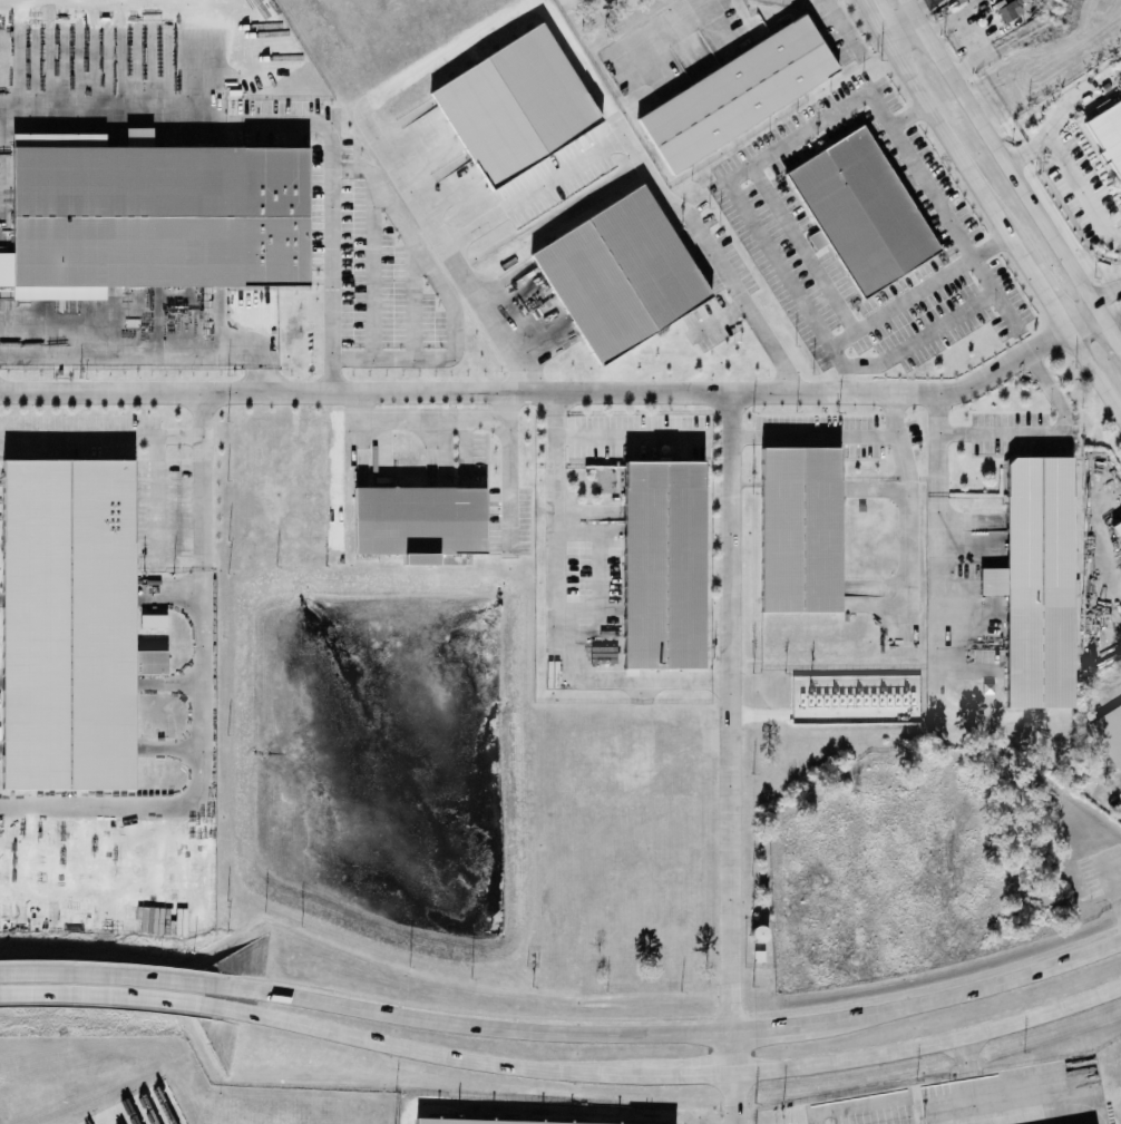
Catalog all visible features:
road: (925, 10)
building: (1012, 10)
road: (875, 17)
road: (674, 23)
road: (841, 26)
road: (898, 27)
road: (973, 36)
road: (422, 75)
building: (735, 94)
road: (864, 97)
building: (520, 107)
road: (114, 108)
road: (908, 116)
building: (1108, 134)
road: (955, 153)
road: (996, 155)
road: (1021, 156)
road: (1080, 184)
road: (536, 196)
road: (333, 207)
building: (861, 212)
building: (157, 216)
building: (618, 275)
road: (918, 291)
road: (449, 296)
road: (1044, 299)
road: (1108, 301)
road: (749, 310)
road: (1078, 317)
road: (137, 325)
road: (1108, 331)
road: (1091, 372)
road: (261, 378)
road: (277, 390)
road: (633, 394)
road: (421, 420)
road: (1025, 430)
road: (834, 434)
road: (101, 436)
road: (623, 437)
road: (903, 453)
road: (510, 457)
road: (937, 460)
road: (202, 479)
road: (157, 492)
building: (418, 520)
building: (1118, 529)
building: (799, 531)
road: (1099, 535)
road: (728, 536)
road: (908, 554)
building: (418, 560)
building: (662, 566)
road: (937, 579)
building: (1039, 583)
road: (558, 614)
building: (156, 623)
building: (66, 629)
road: (721, 680)
power plant: (855, 698)
road: (198, 784)
road: (130, 974)
road: (124, 997)
road: (694, 1033)
road: (930, 1042)
road: (733, 1053)
road: (445, 1055)
road: (965, 1056)
road: (691, 1074)
road: (734, 1098)
road: (973, 1099)
road: (1053, 1113)
building: (440, 1123)

